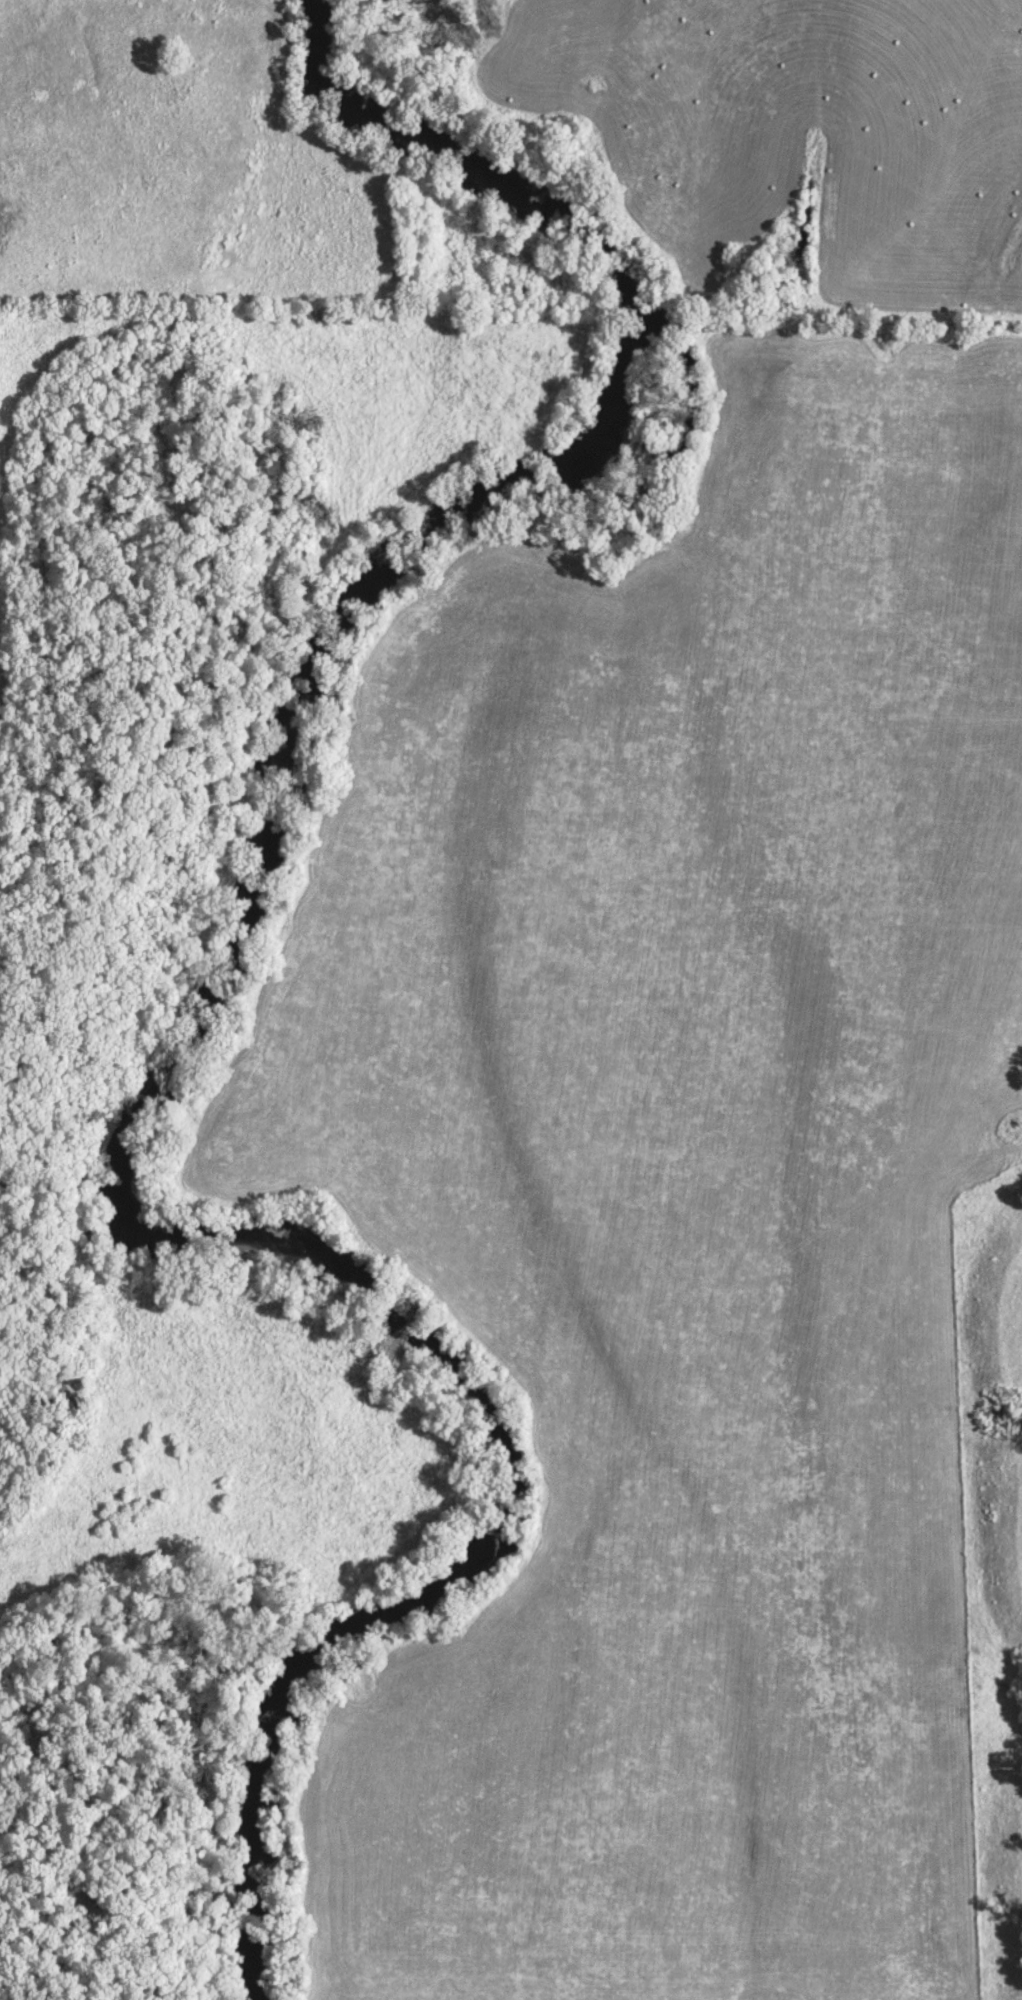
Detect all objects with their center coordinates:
river: (163, 1041)

